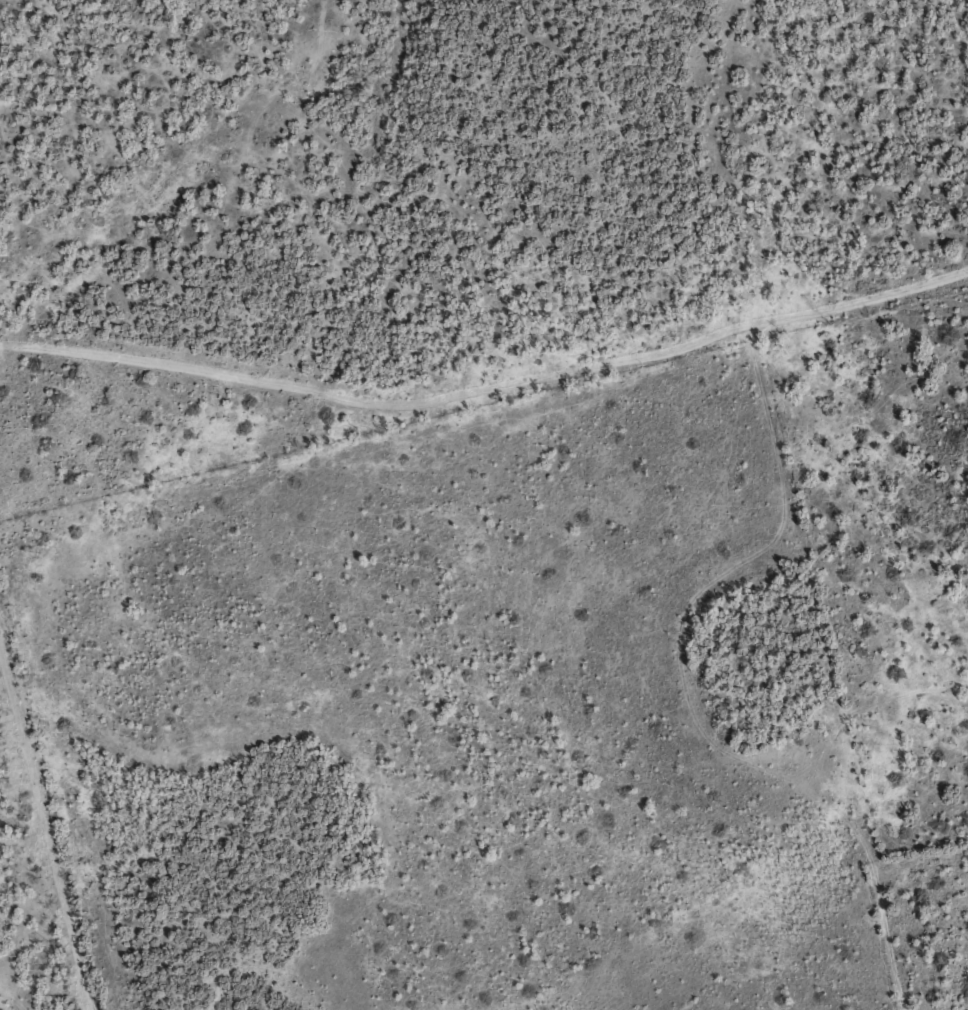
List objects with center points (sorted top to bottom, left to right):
road: (83, 130)
road: (484, 345)
road: (40, 828)
road: (10, 1000)

